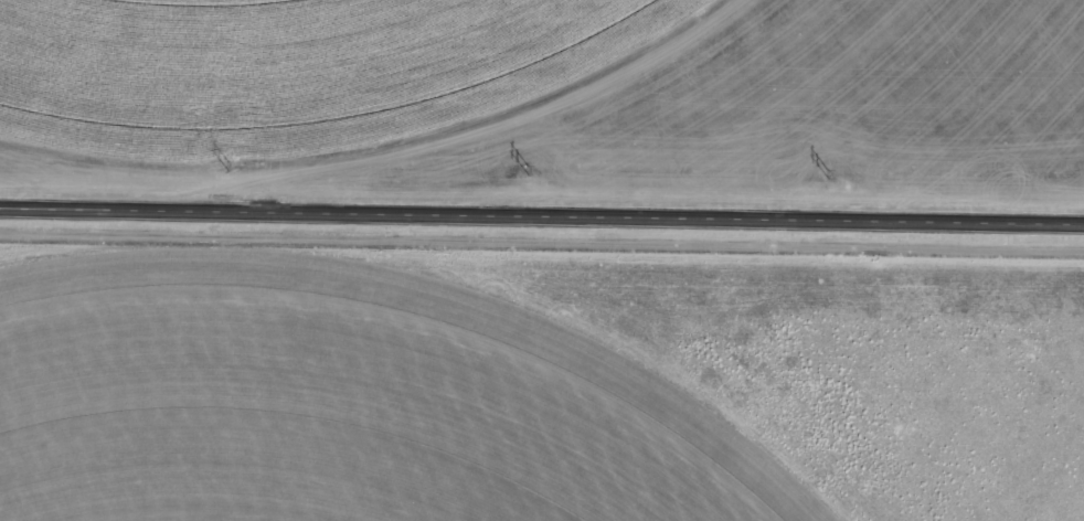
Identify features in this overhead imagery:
road: (71, 97)
road: (542, 219)

